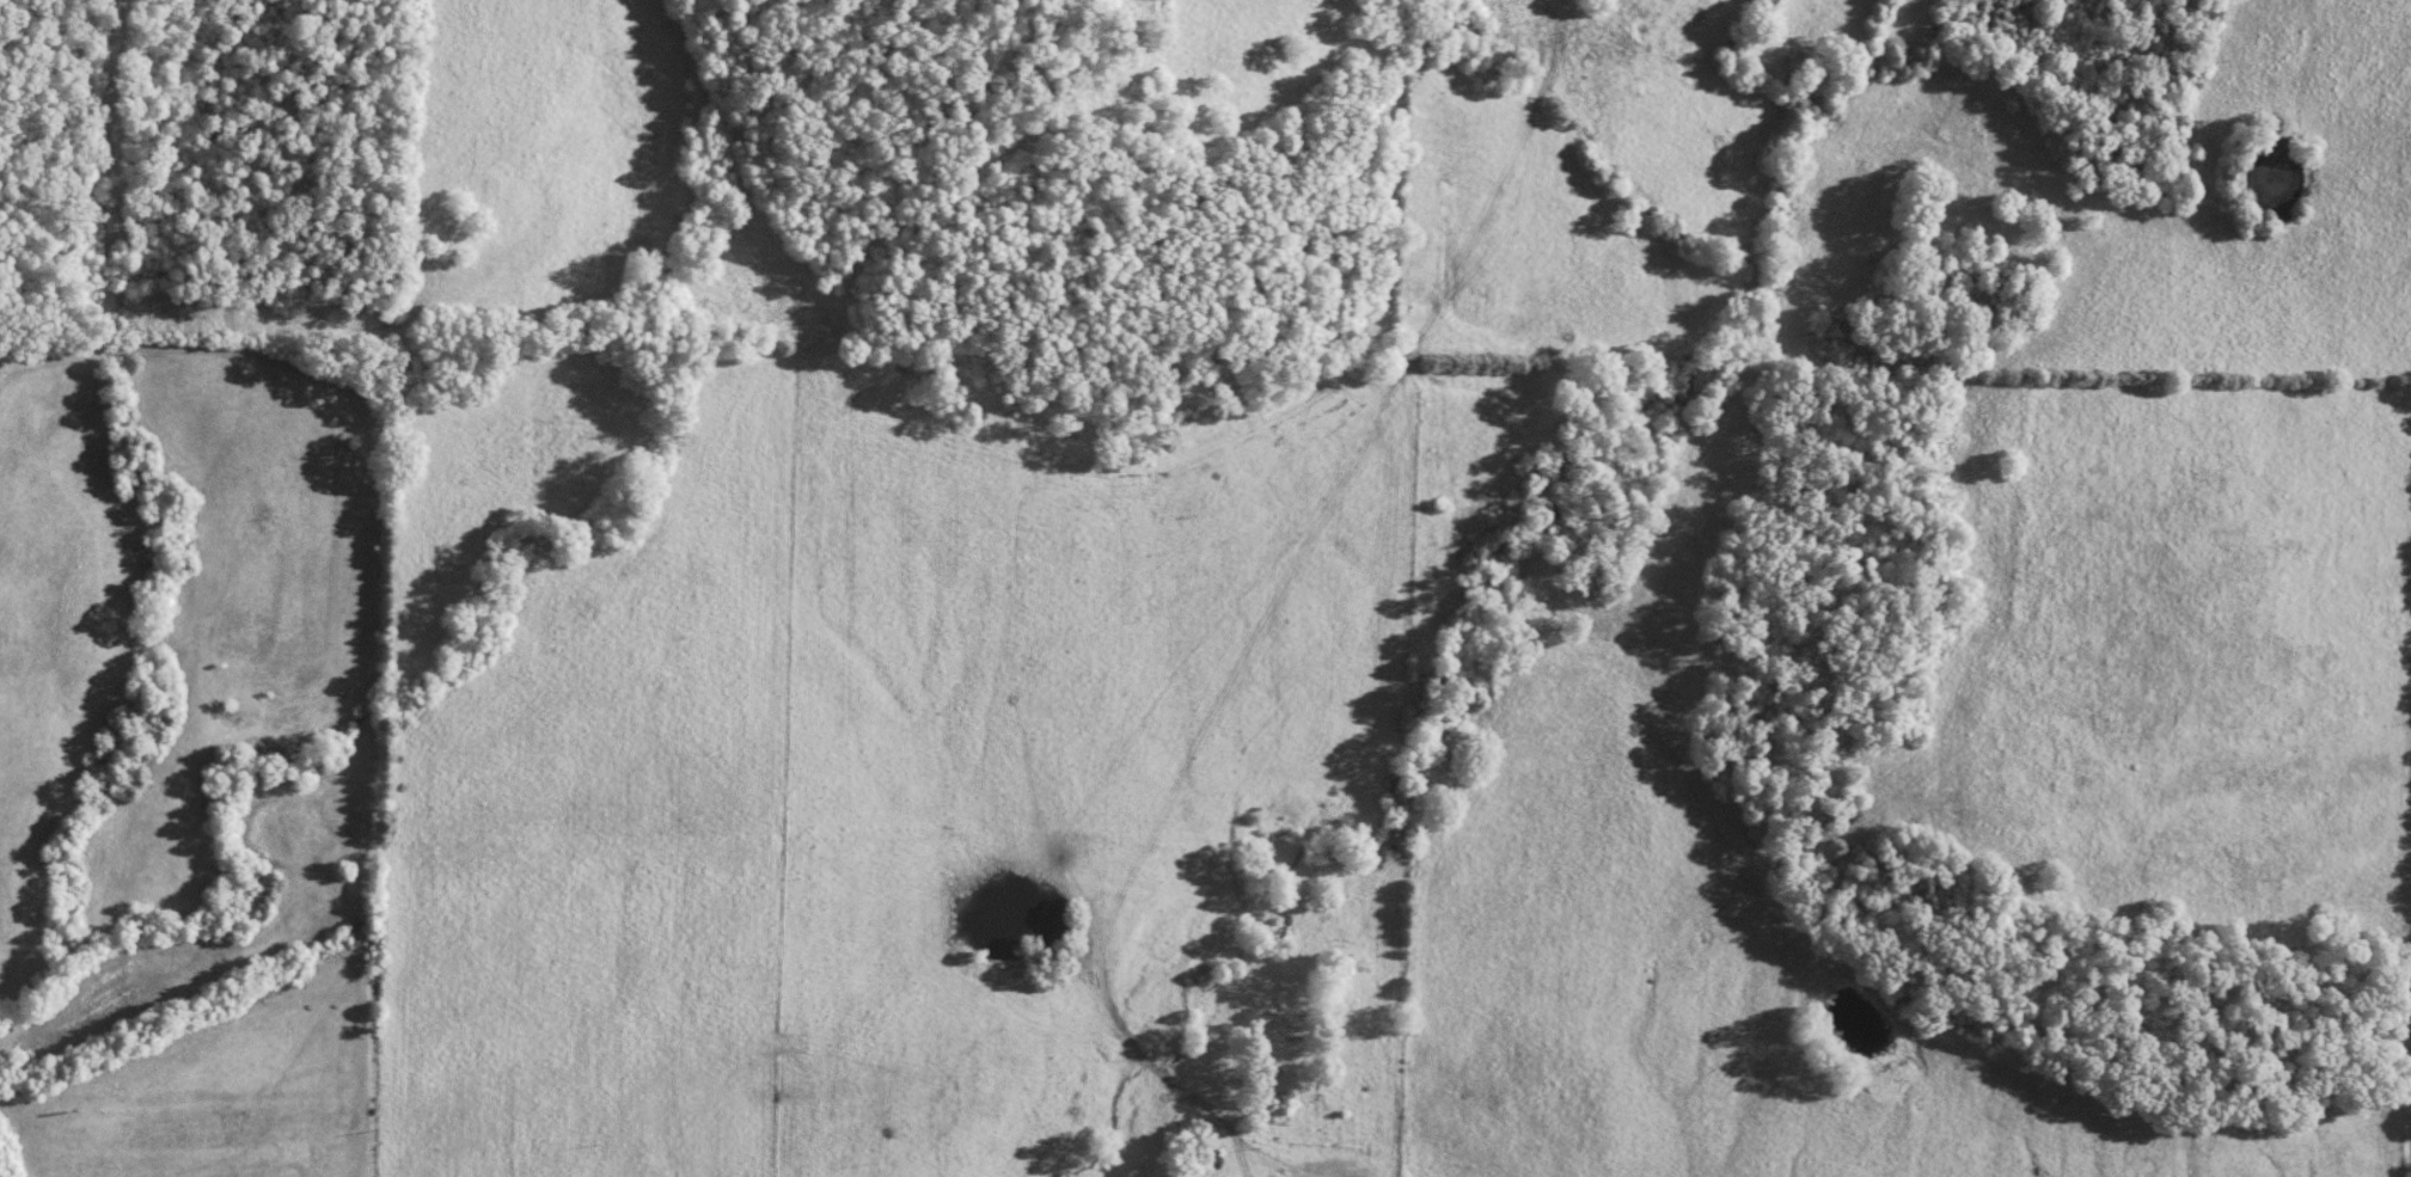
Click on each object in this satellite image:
building: (1287, 1109)

